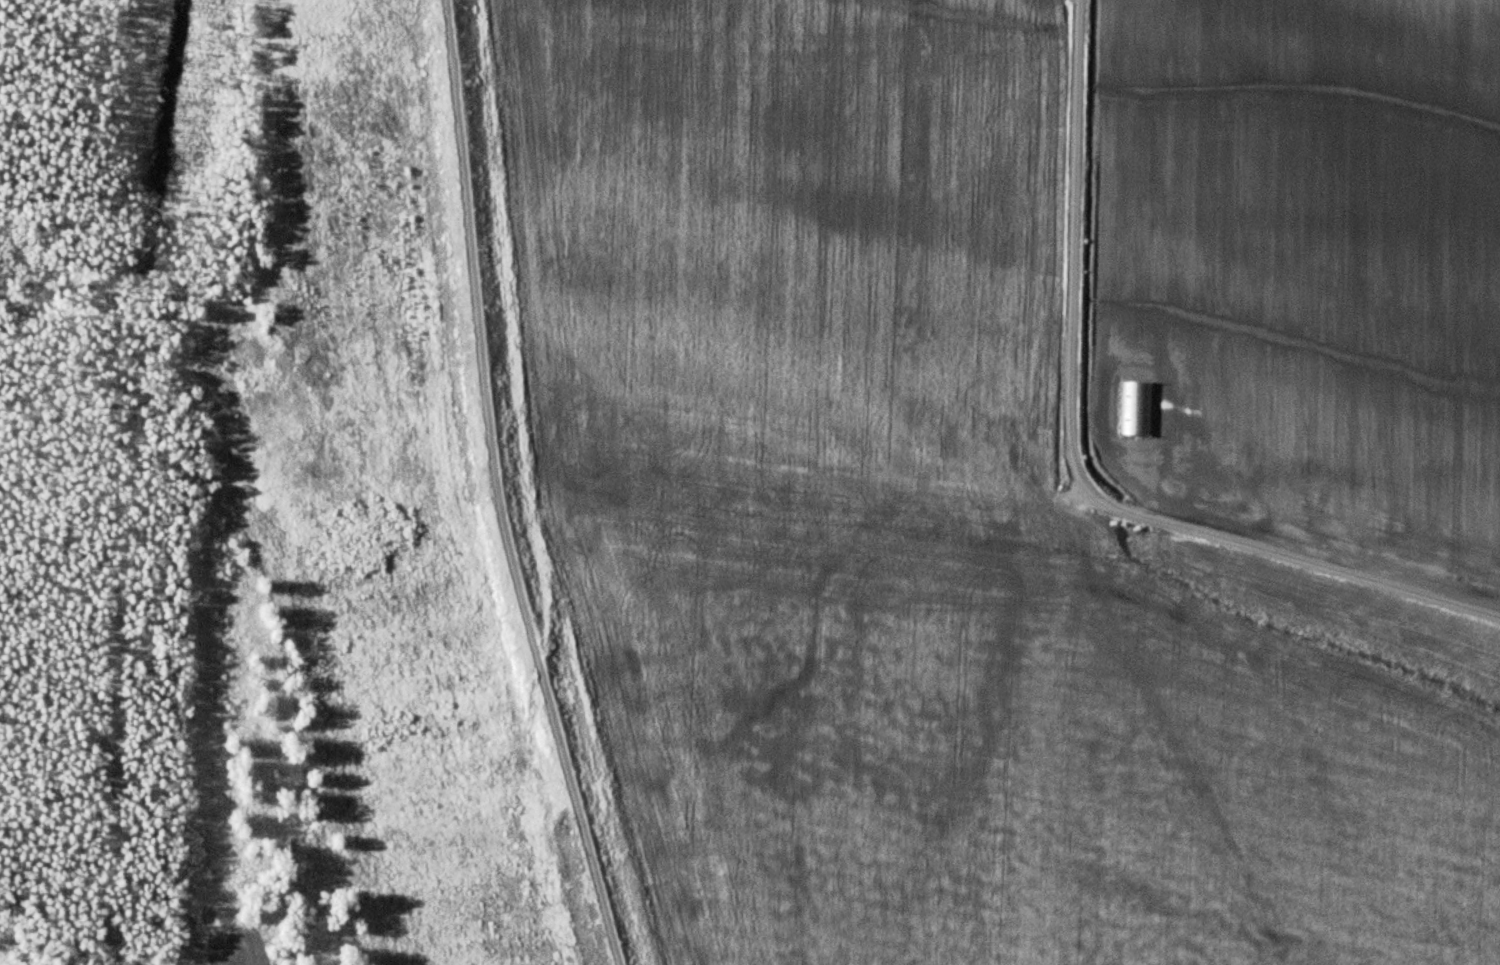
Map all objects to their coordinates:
road: (1079, 142)
road: (481, 334)
building: (1136, 408)
road: (526, 487)
road: (1192, 528)

